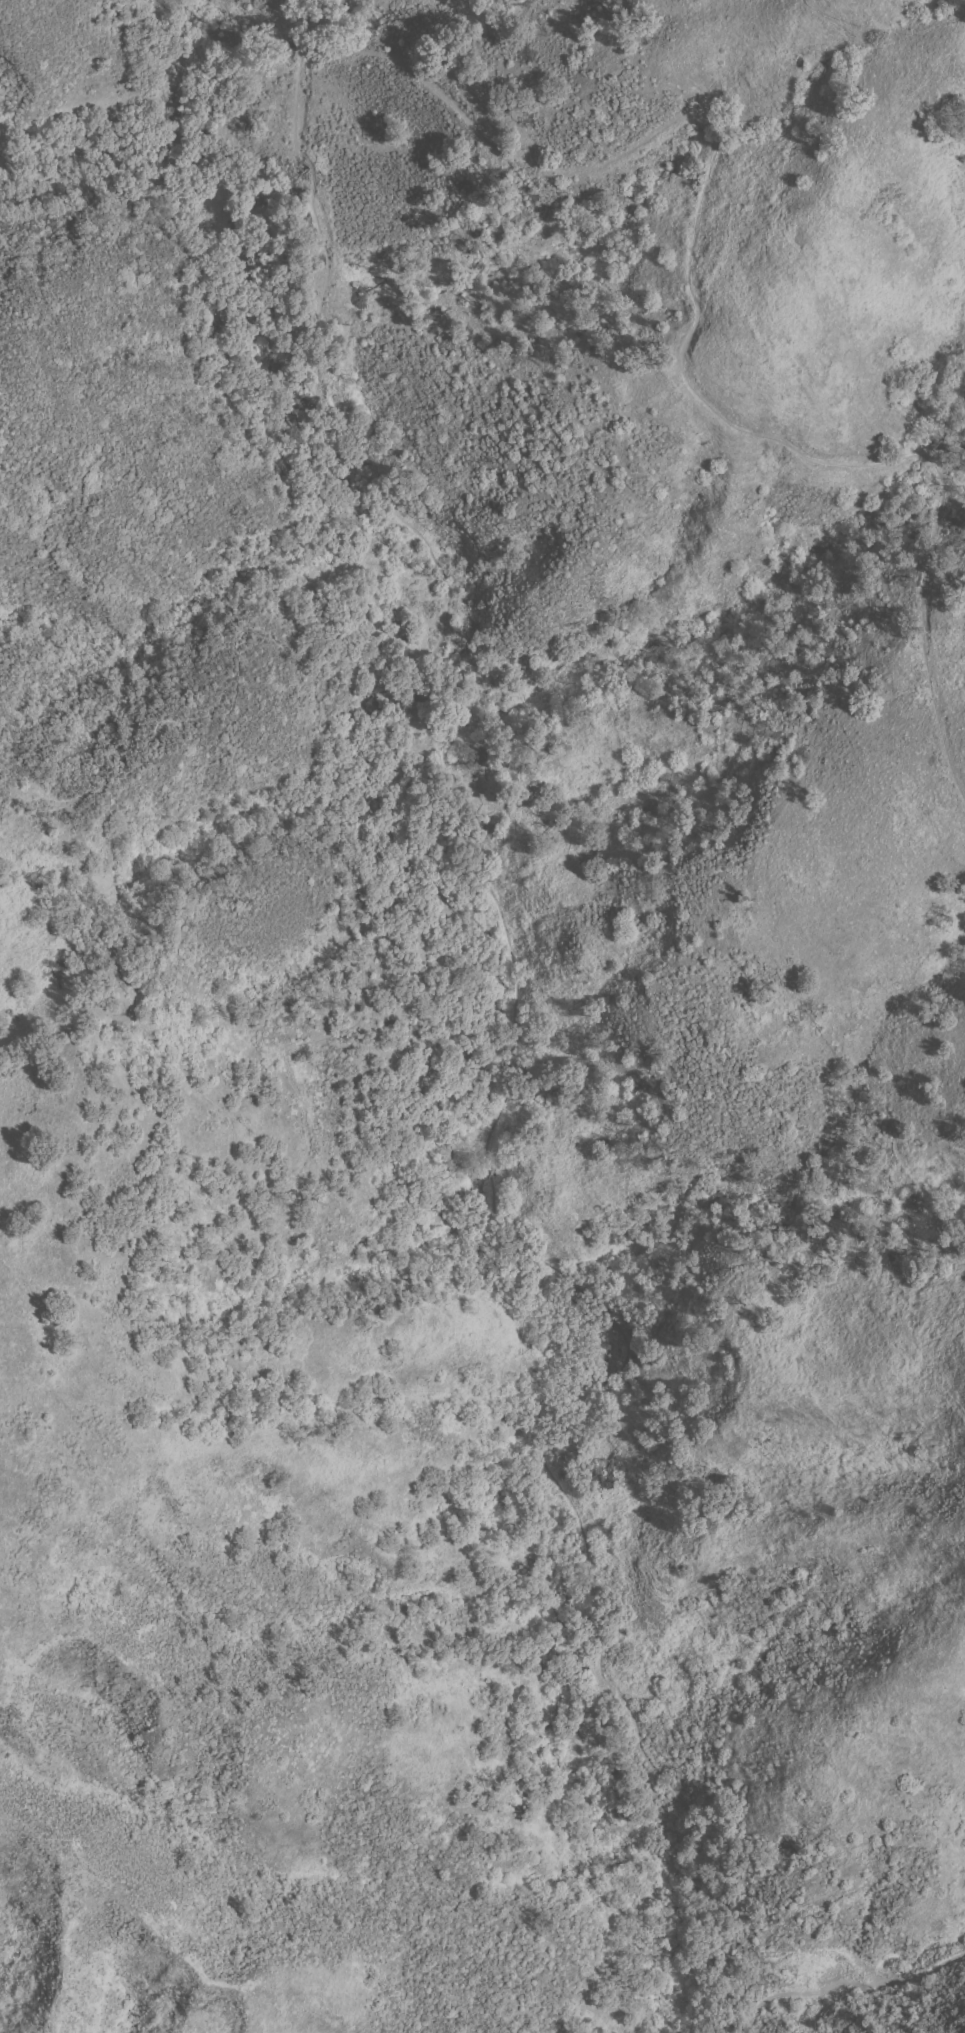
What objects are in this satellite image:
road: (694, 309)
road: (500, 1048)
road: (226, 1116)
road: (764, 1951)
road: (855, 1985)

